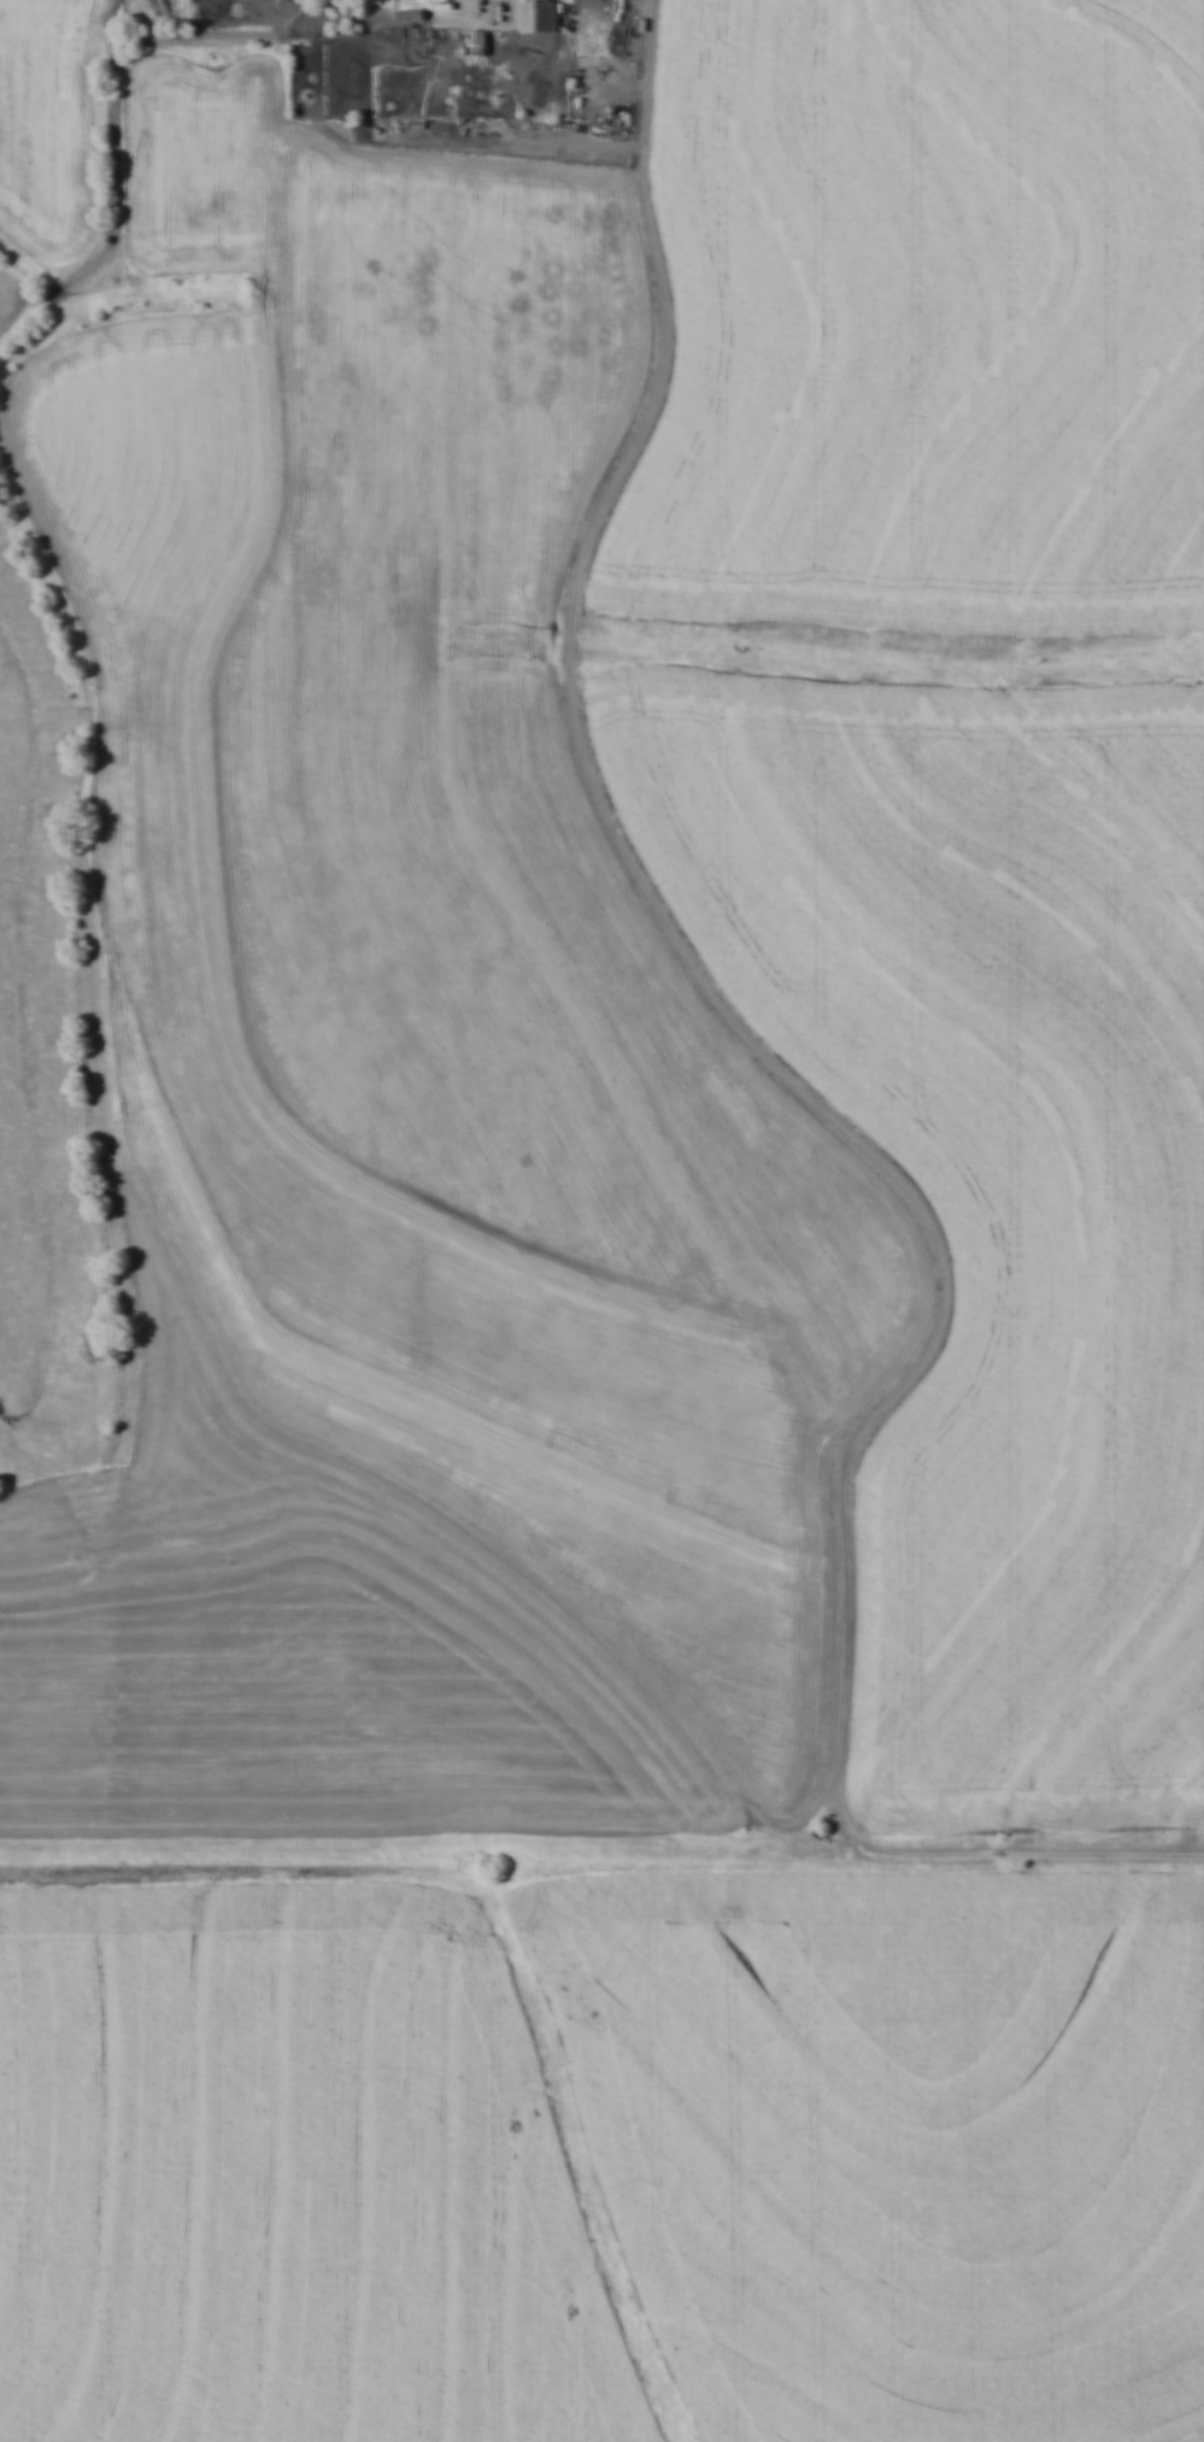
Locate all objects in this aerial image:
building: (439, 0)
building: (539, 16)
building: (477, 43)

